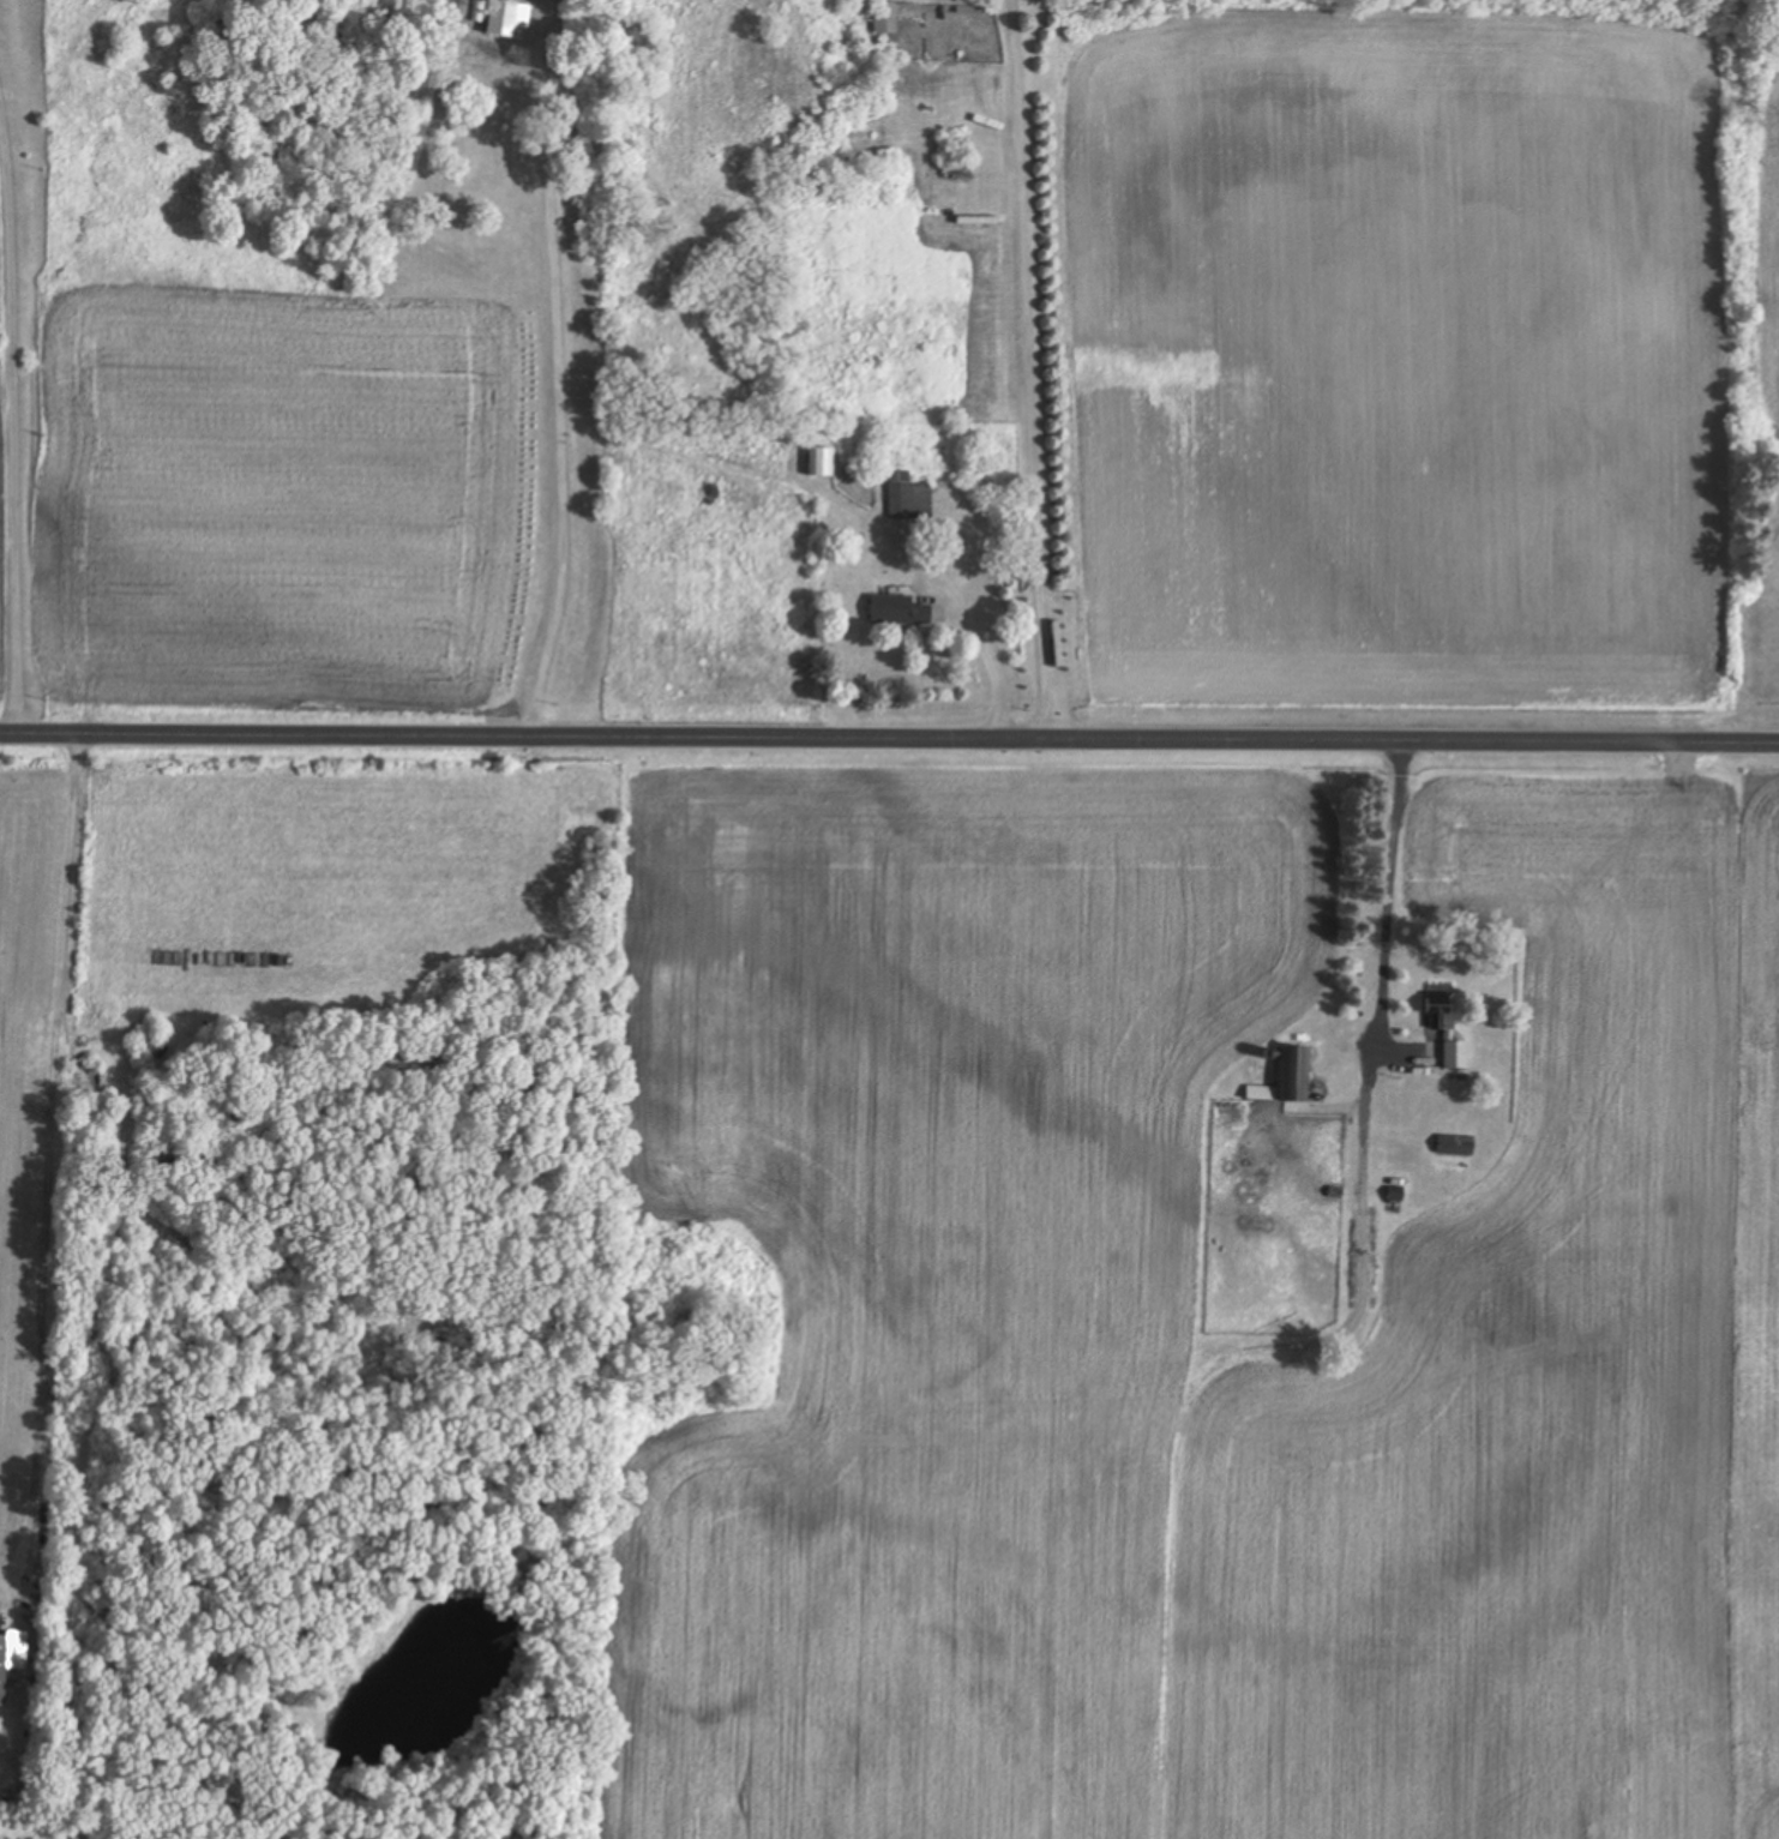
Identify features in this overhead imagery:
building: (964, 11)
building: (885, 19)
building: (509, 20)
road: (1030, 372)
building: (827, 465)
building: (908, 499)
building: (897, 611)
road: (889, 744)
building: (1440, 1015)
building: (1452, 1057)
building: (1299, 1075)
building: (1262, 1094)
building: (2, 1670)

